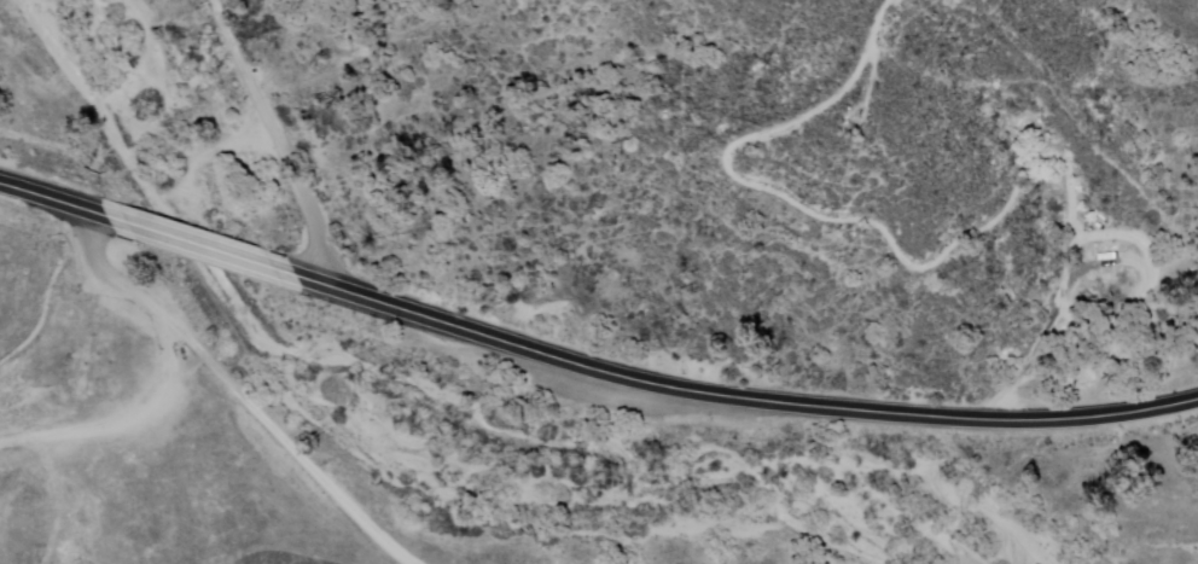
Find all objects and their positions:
road: (273, 140)
road: (53, 200)
road: (194, 244)
road: (163, 366)
road: (732, 396)
road: (281, 437)

